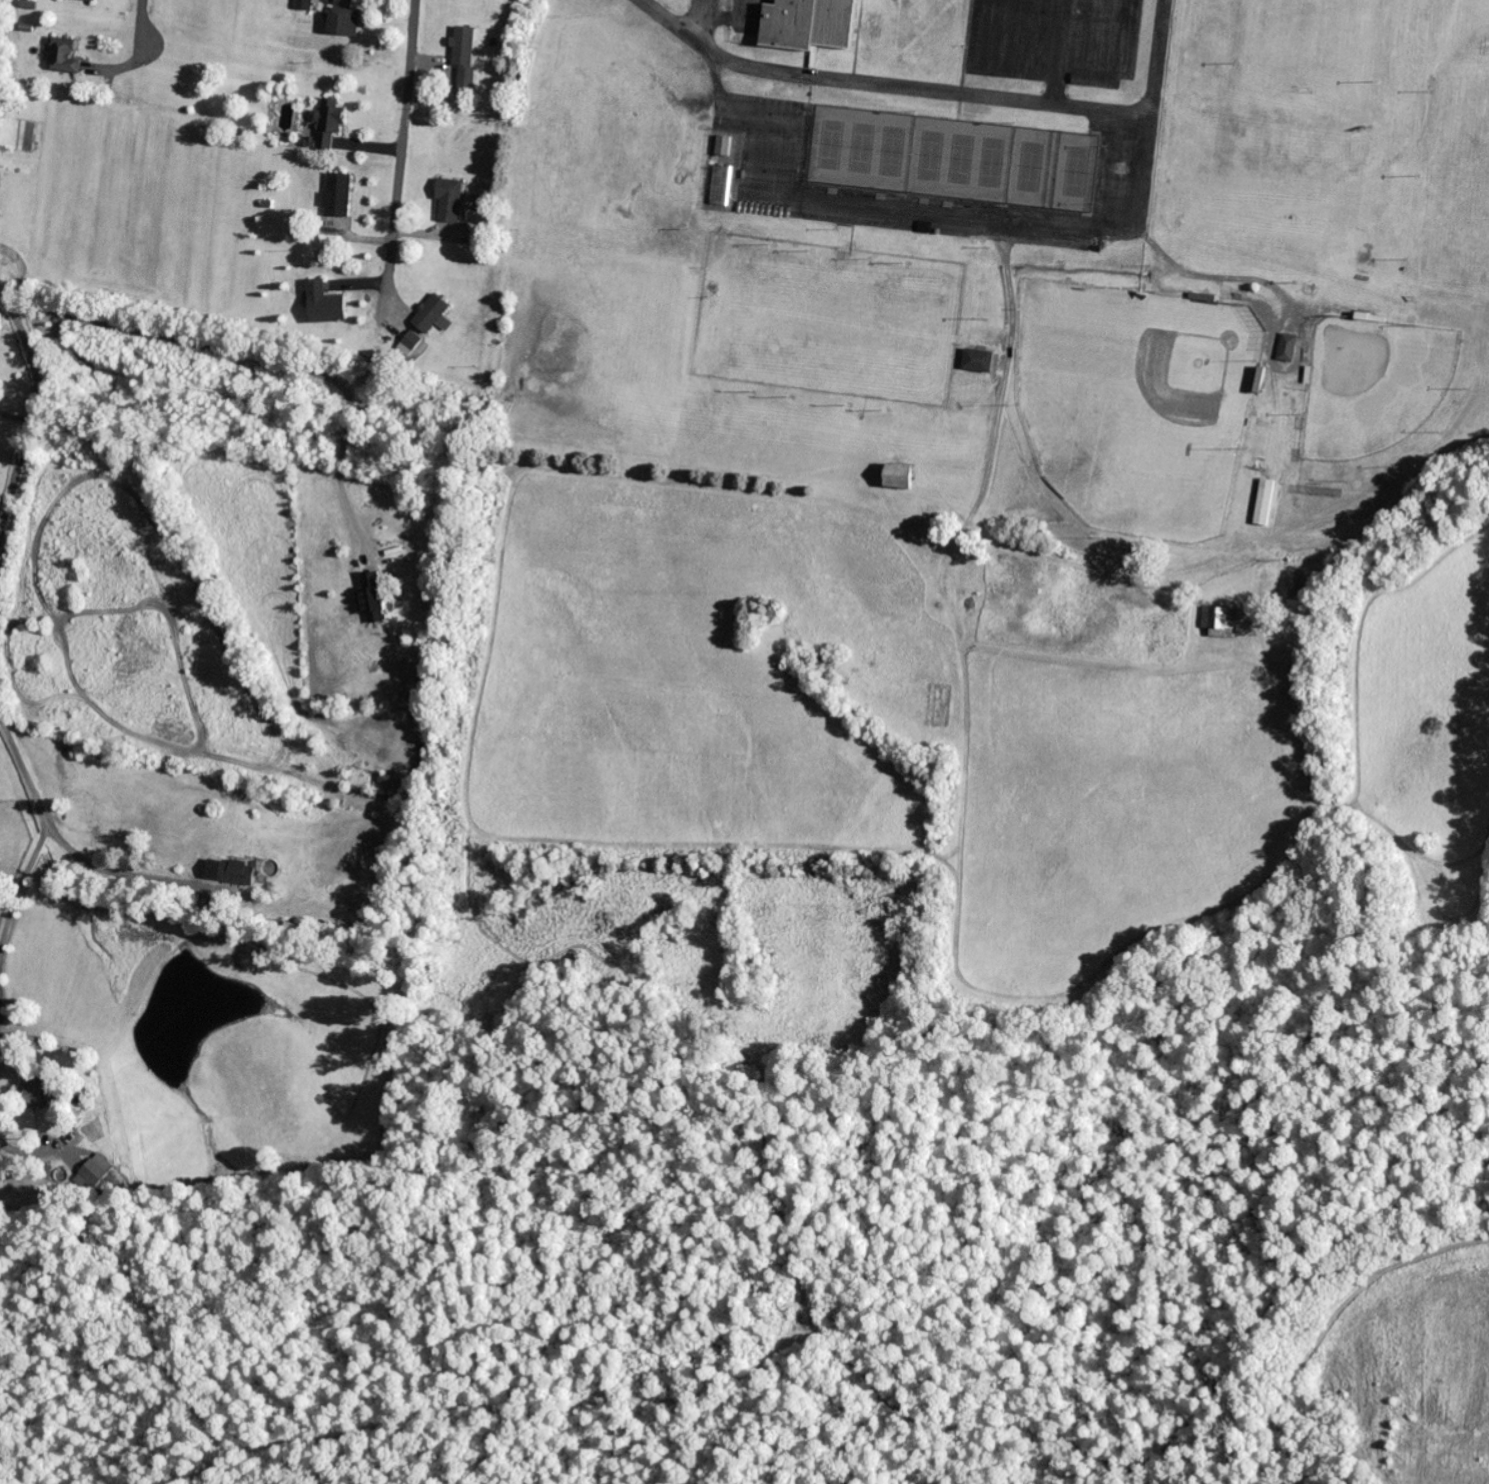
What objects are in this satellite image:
building: (87, 1)
building: (304, 6)
road: (144, 18)
building: (345, 24)
building: (463, 47)
building: (63, 57)
road: (404, 123)
building: (329, 126)
building: (722, 147)
building: (721, 186)
building: (338, 196)
building: (449, 202)
building: (792, 260)
building: (325, 306)
building: (431, 316)
building: (1287, 349)
building: (980, 362)
road: (31, 419)
building: (902, 478)
building: (1264, 504)
building: (1302, 595)
building: (374, 600)
building: (1216, 620)
road: (22, 770)
building: (390, 787)
building: (238, 874)
building: (327, 880)
building: (43, 1092)
building: (76, 1141)
building: (97, 1171)

